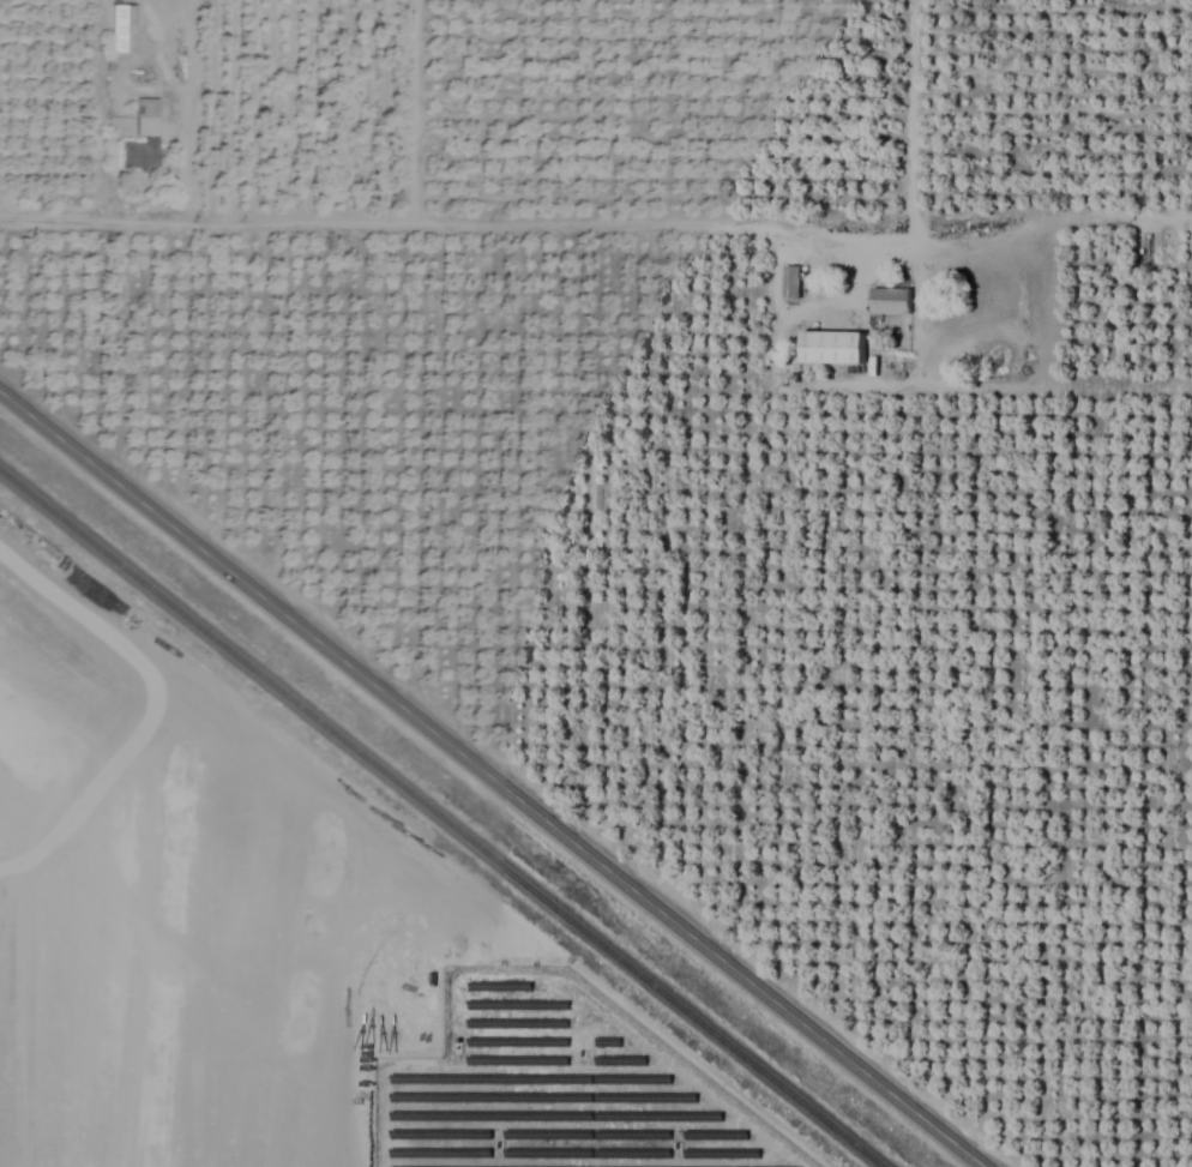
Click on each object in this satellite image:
road: (1115, 218)
road: (522, 223)
building: (790, 283)
building: (889, 302)
building: (830, 349)
crop: (609, 585)
road: (490, 780)
railway: (440, 820)

